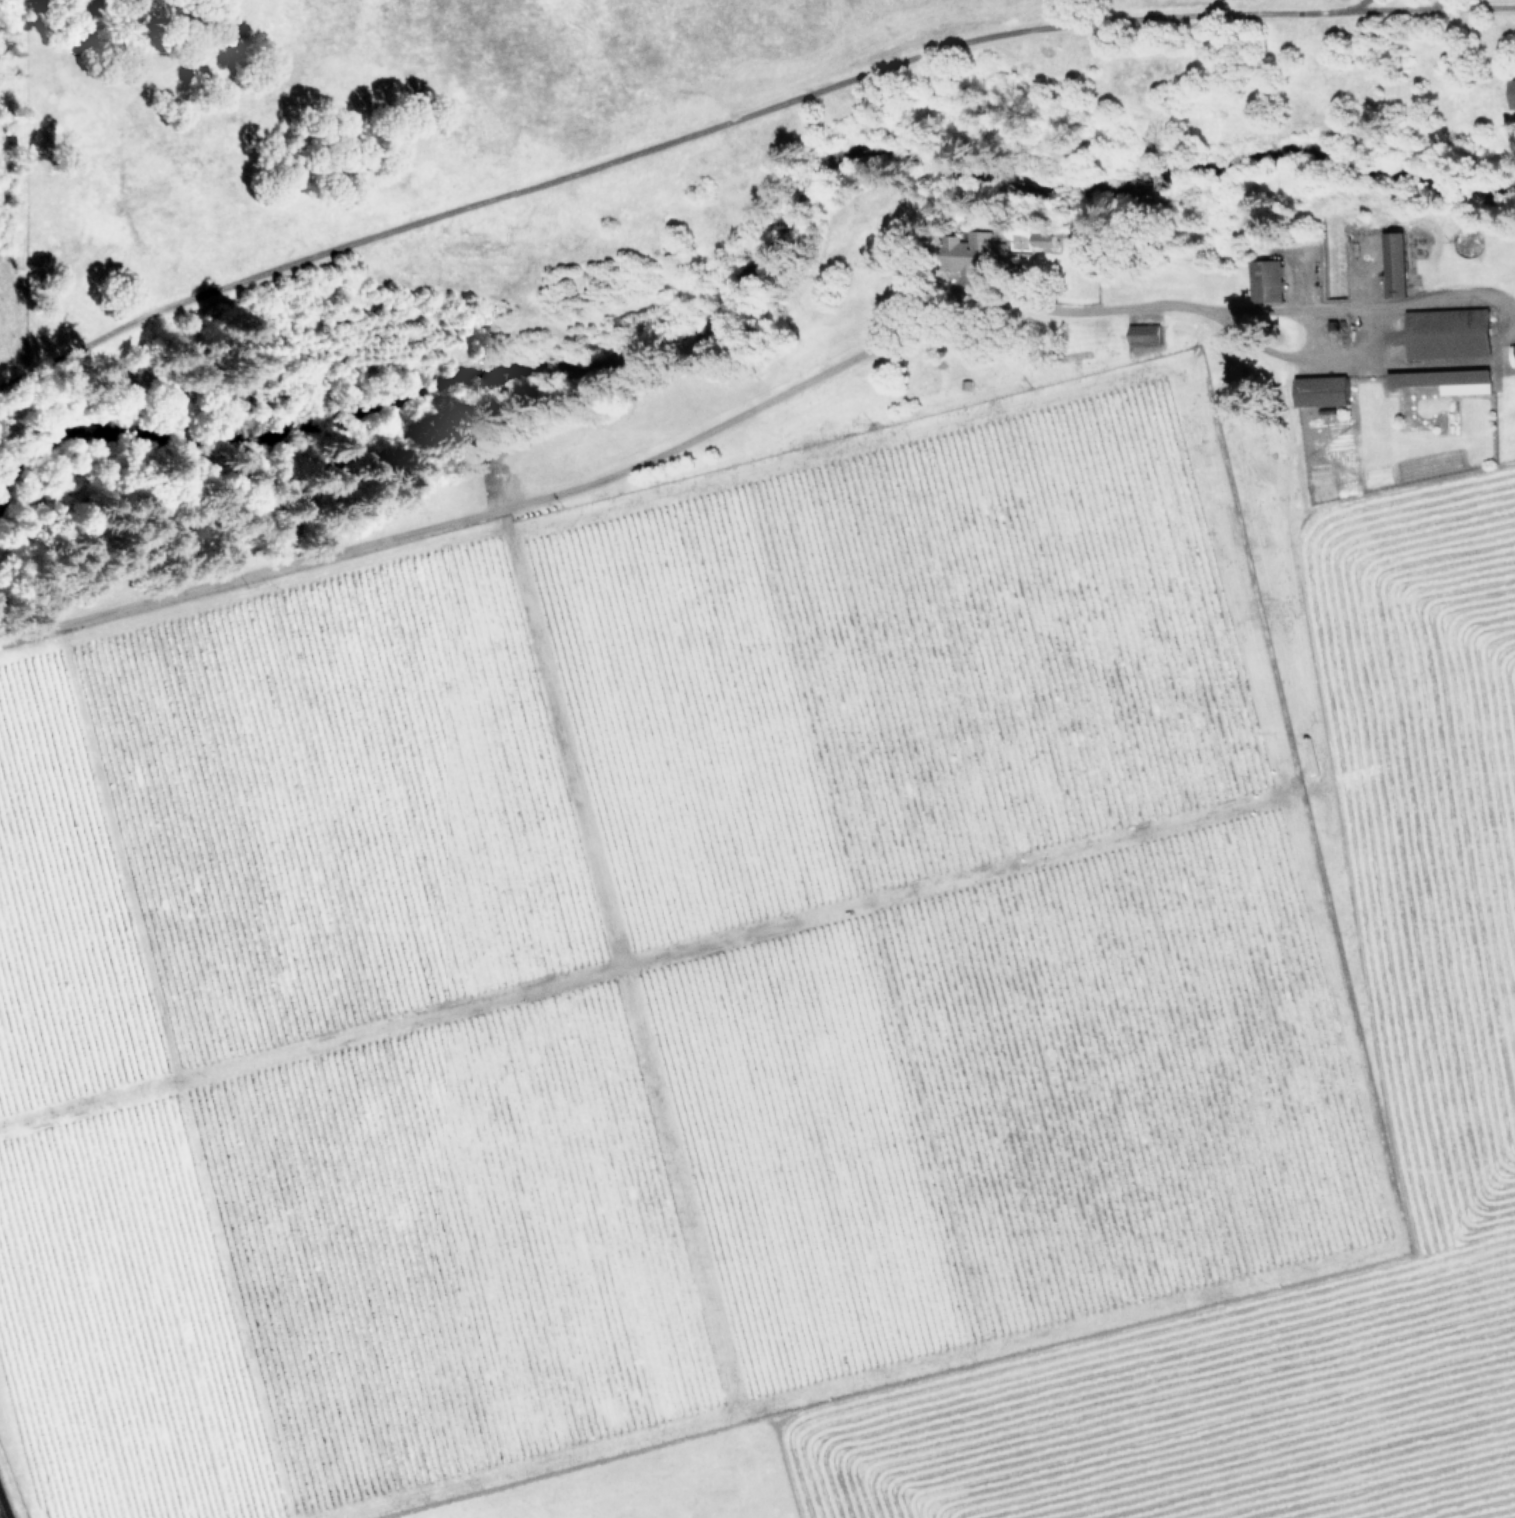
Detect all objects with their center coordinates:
crop: (614, 70)
building: (1042, 239)
building: (1395, 264)
building: (1267, 281)
building: (1448, 332)
building: (1144, 333)
road: (1501, 336)
building: (1447, 380)
road: (606, 480)
crop: (800, 953)
road: (1, 1514)

